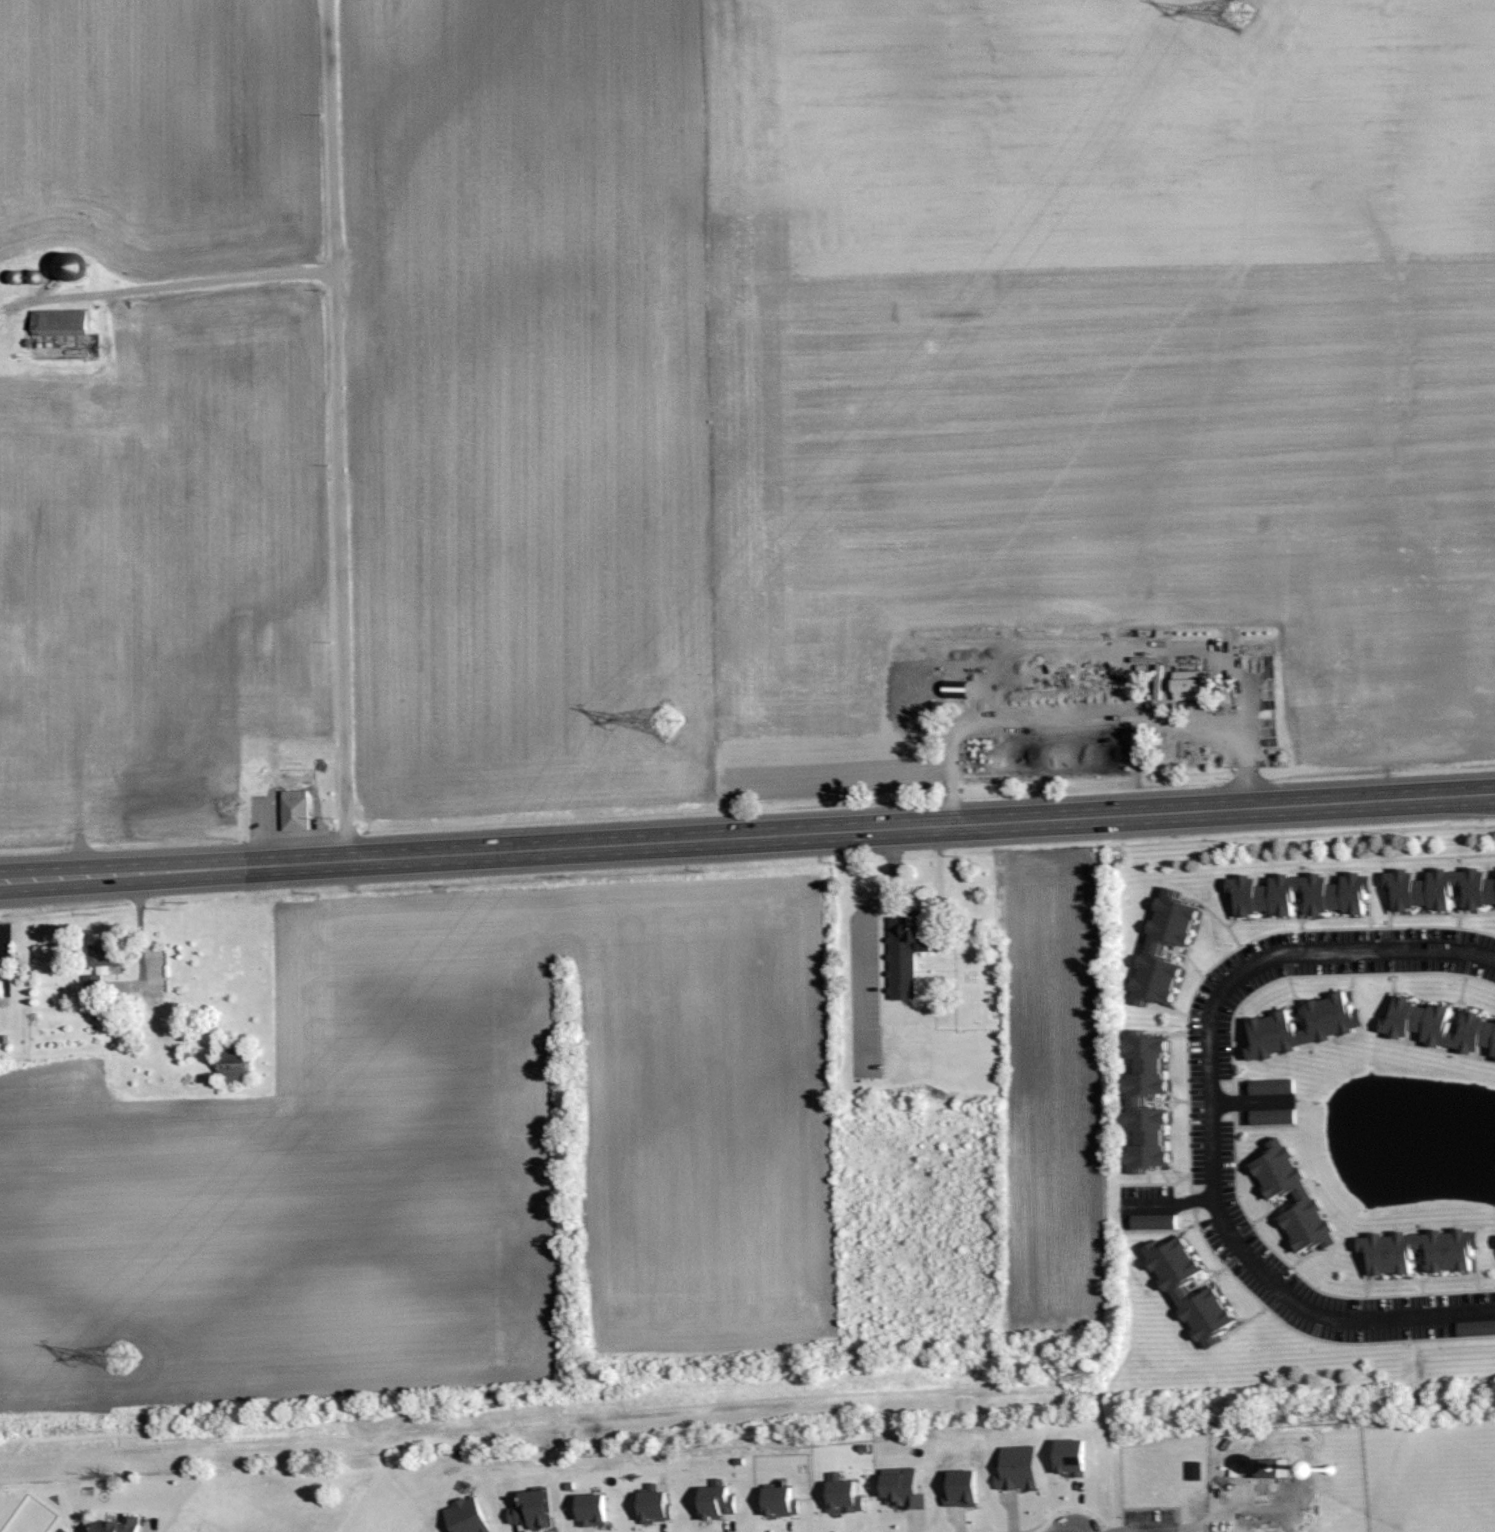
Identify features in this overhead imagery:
power tower: (1238, 18)
building: (65, 266)
road: (181, 285)
building: (57, 322)
road: (338, 430)
building: (1188, 685)
road: (1087, 722)
power tower: (664, 724)
building: (294, 810)
road: (747, 838)
building: (1439, 889)
building: (1298, 894)
road: (857, 941)
building: (1161, 950)
building: (903, 955)
building: (98, 961)
building: (0, 993)
building: (1335, 1025)
building: (1438, 1027)
building: (233, 1070)
building: (1270, 1087)
building: (1133, 1103)
building: (1271, 1117)
road: (1213, 1122)
building: (1302, 1196)
road: (1167, 1207)
building: (1152, 1223)
building: (1418, 1252)
building: (1176, 1293)
building: (1475, 1329)
power tower: (122, 1360)
road: (765, 1411)
building: (1068, 1458)
road: (16, 1460)
building: (1015, 1469)
building: (1271, 1469)
building: (1193, 1471)
water tower: (1329, 1471)
park: (1313, 1483)
building: (900, 1490)
building: (841, 1496)
building: (715, 1503)
building: (778, 1503)
building: (652, 1508)
building: (531, 1511)
building: (589, 1511)
road: (1213, 1514)
building: (463, 1517)
parking lot: (1153, 1520)
building: (114, 1524)

